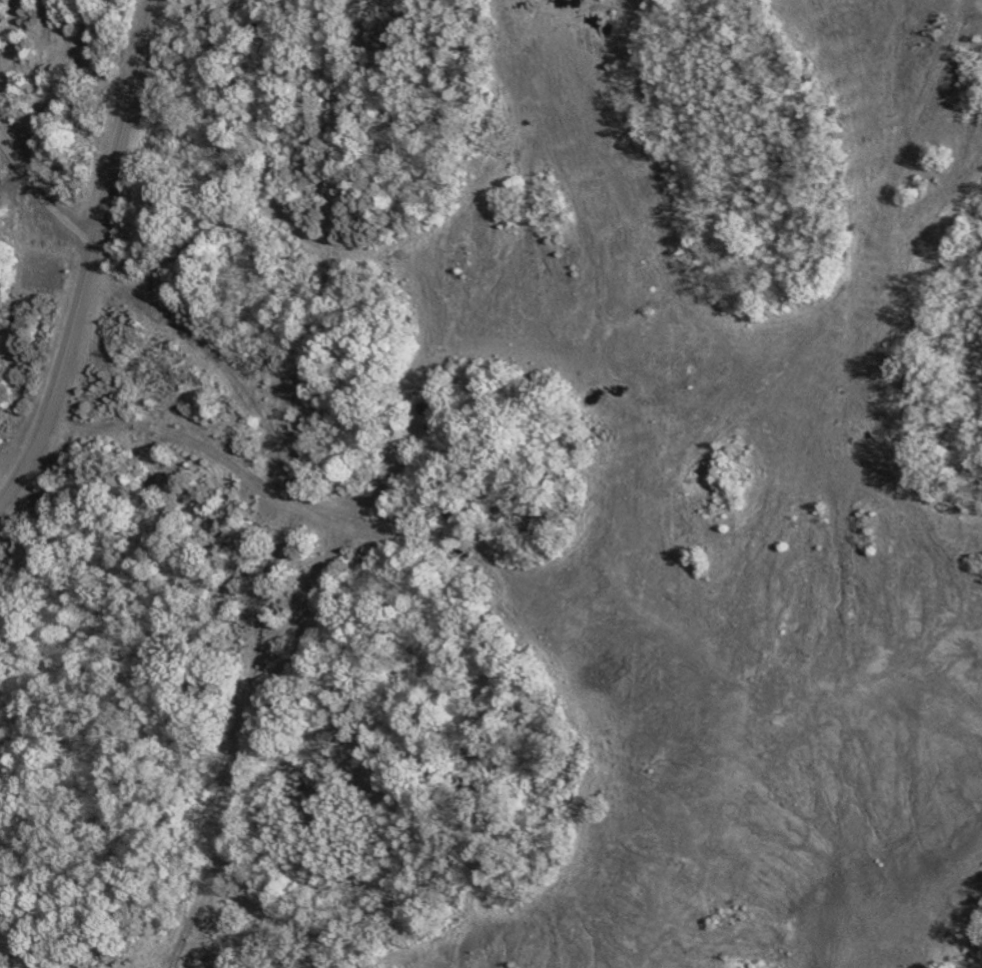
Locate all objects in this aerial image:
road: (92, 256)

